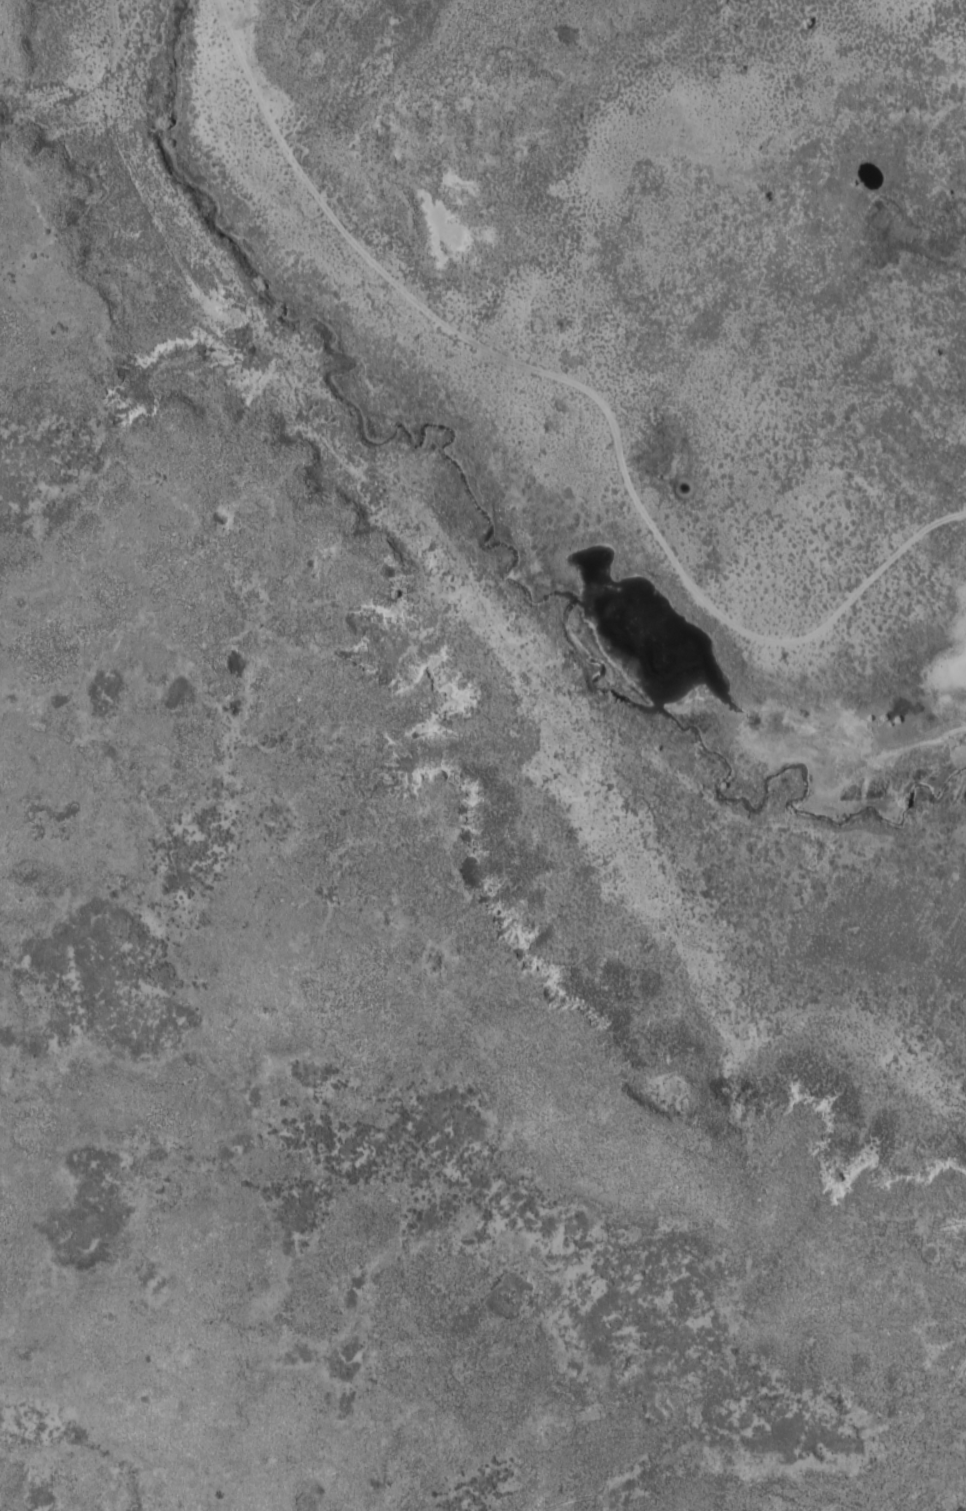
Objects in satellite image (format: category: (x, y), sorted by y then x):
road: (553, 382)
river: (485, 553)

